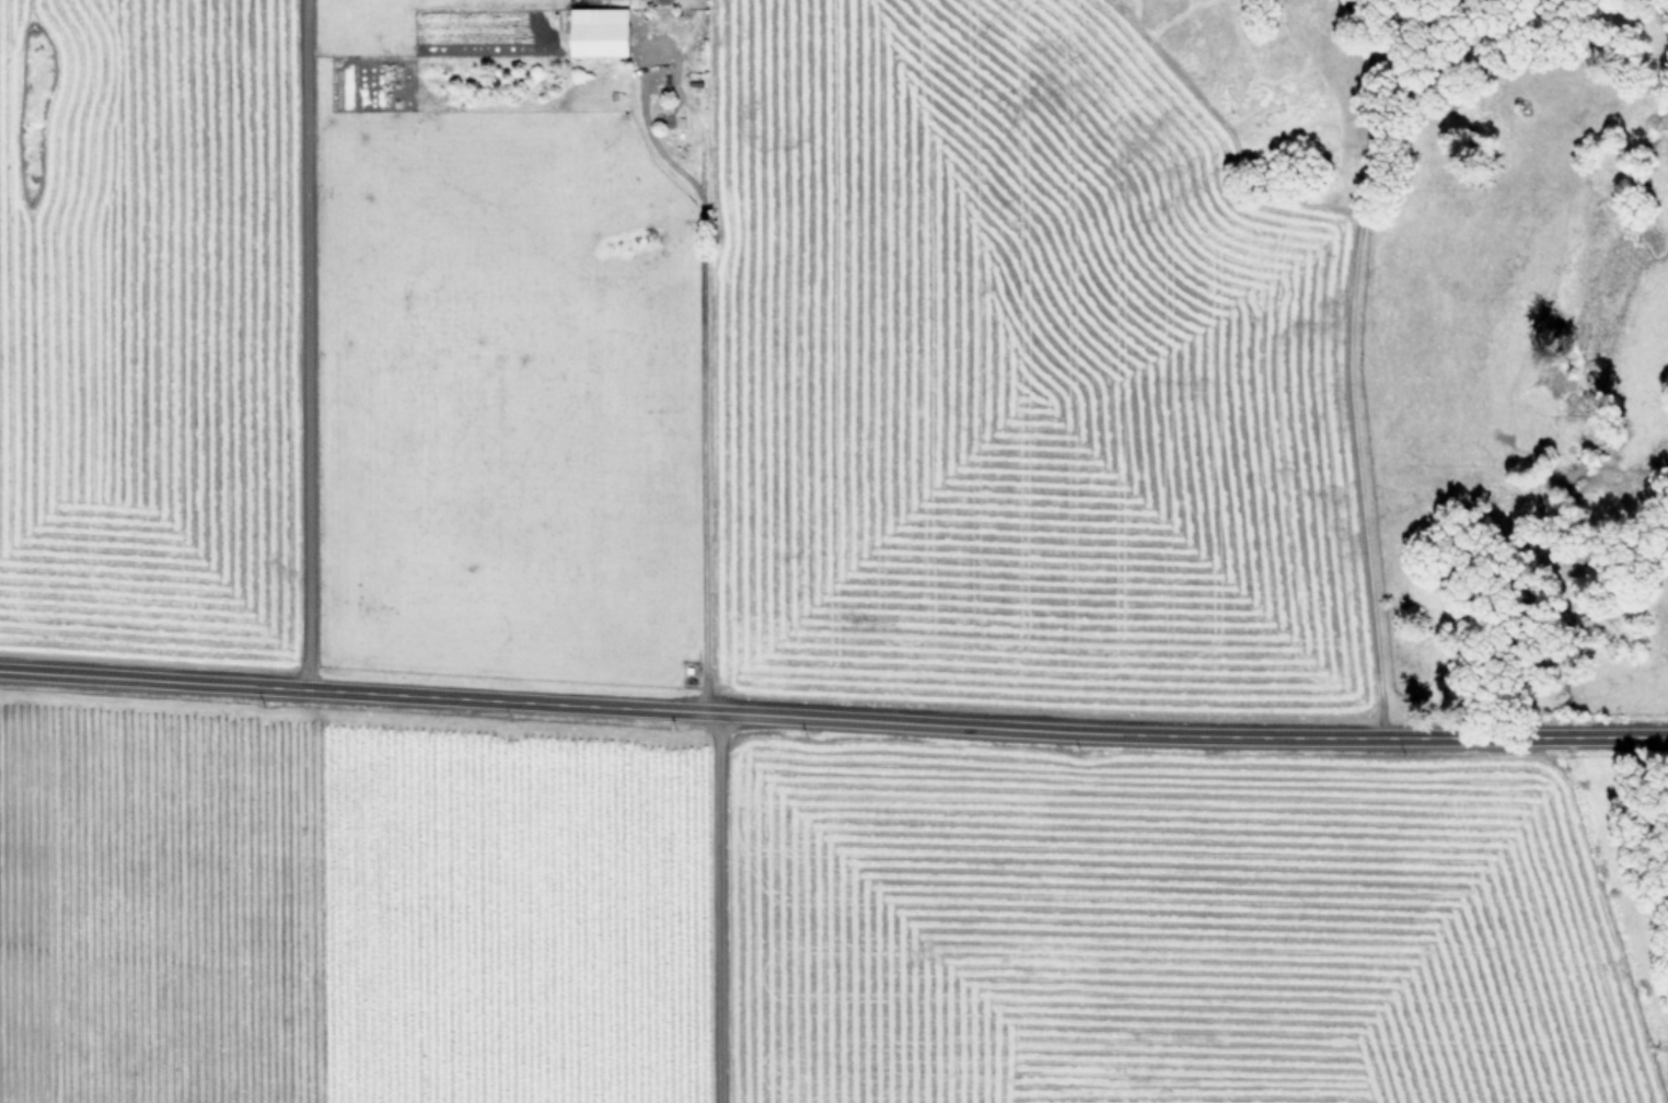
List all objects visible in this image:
building: (604, 31)
road: (703, 311)
road: (303, 344)
crop: (700, 350)
road: (1345, 365)
road: (833, 717)
road: (719, 906)
crop: (789, 921)

